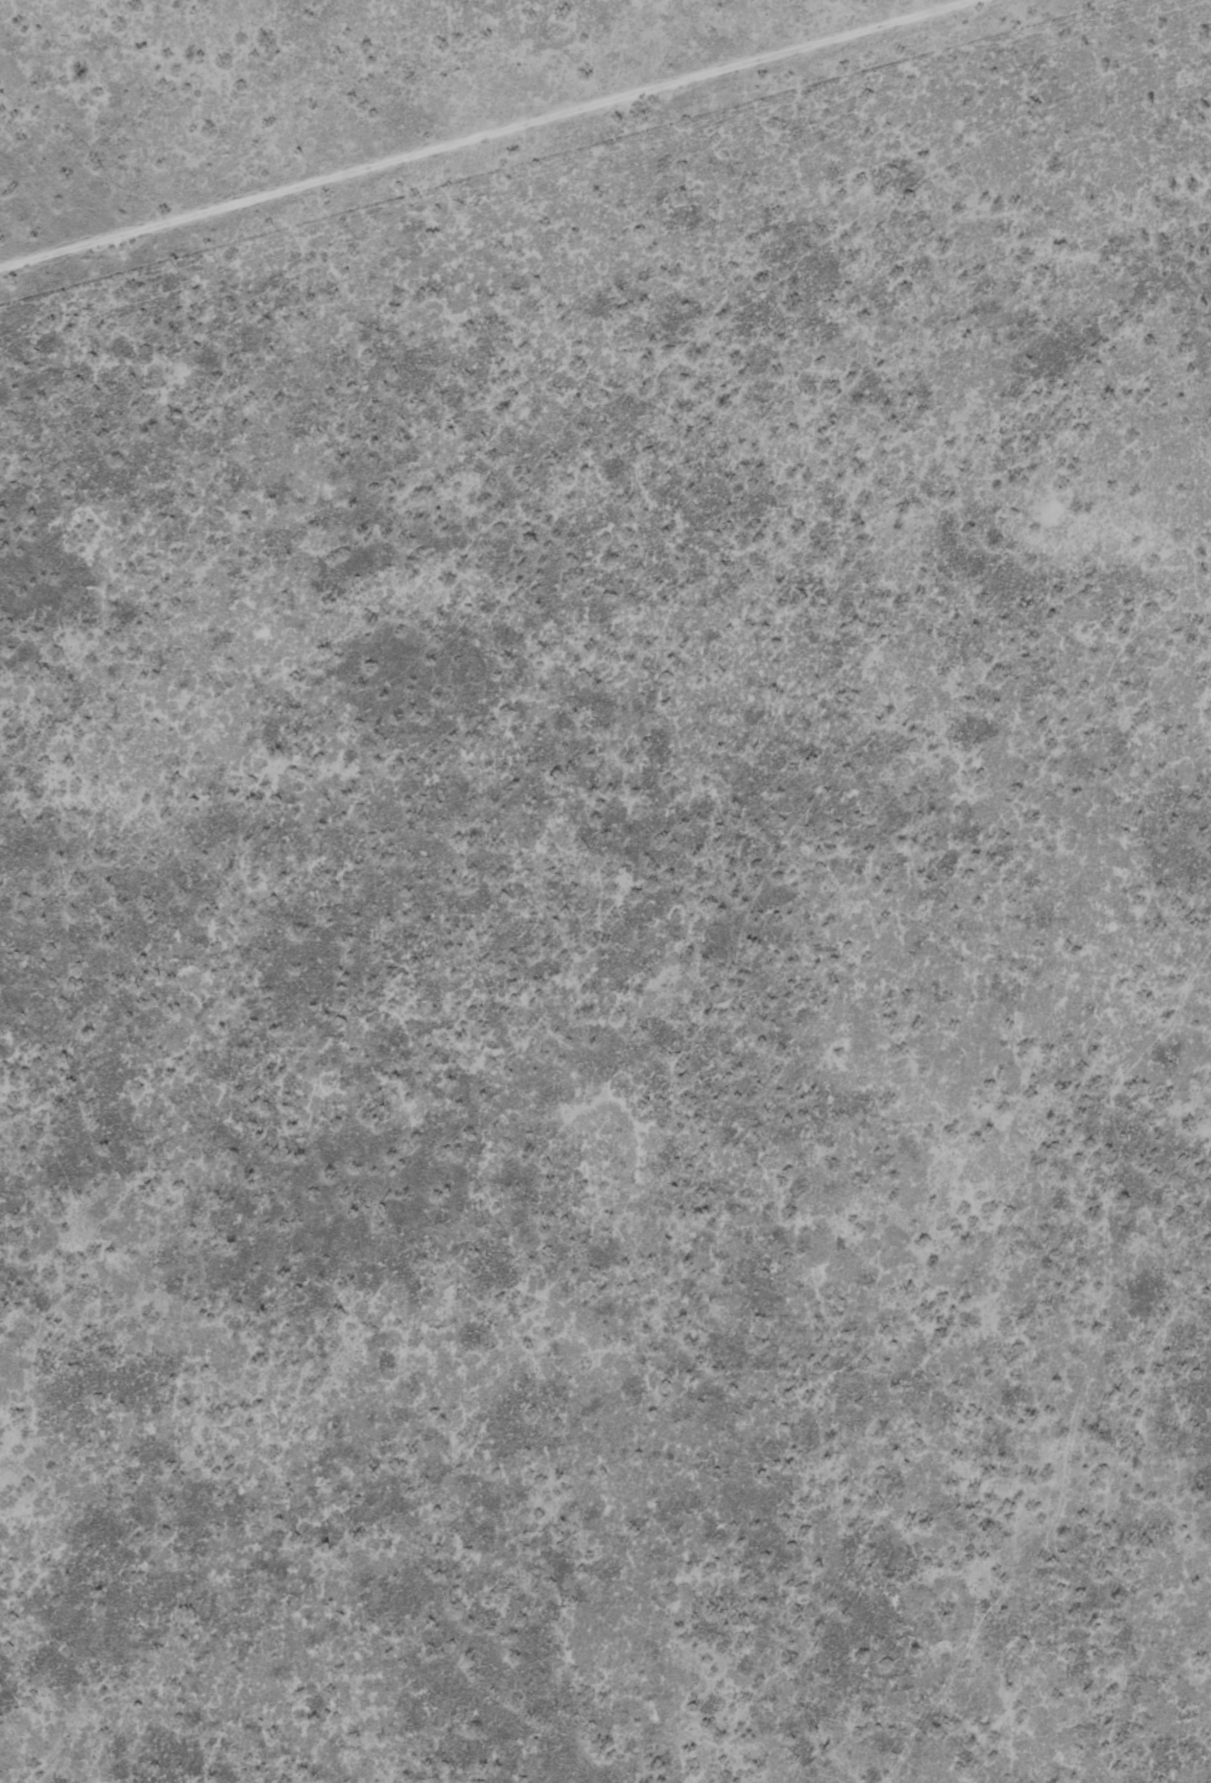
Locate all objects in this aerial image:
road: (529, 139)

